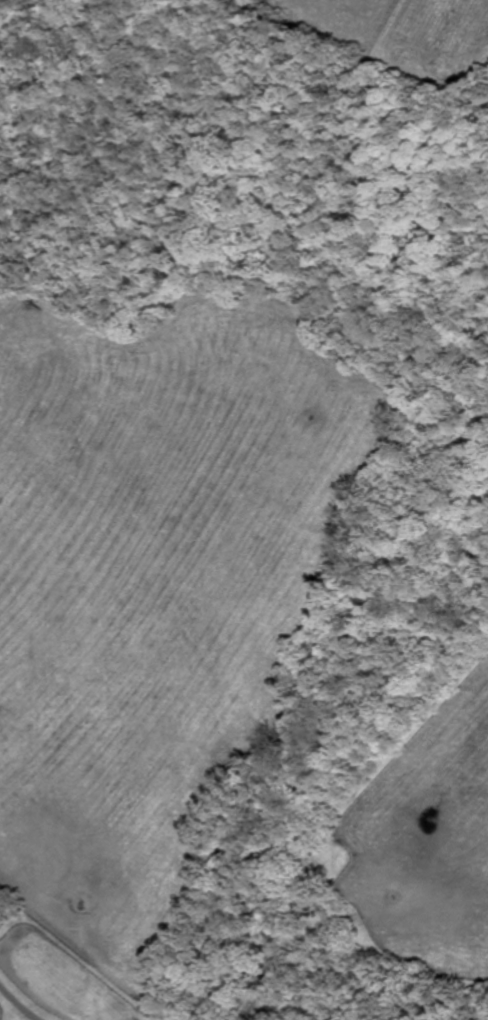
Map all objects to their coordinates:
road: (20, 1004)

